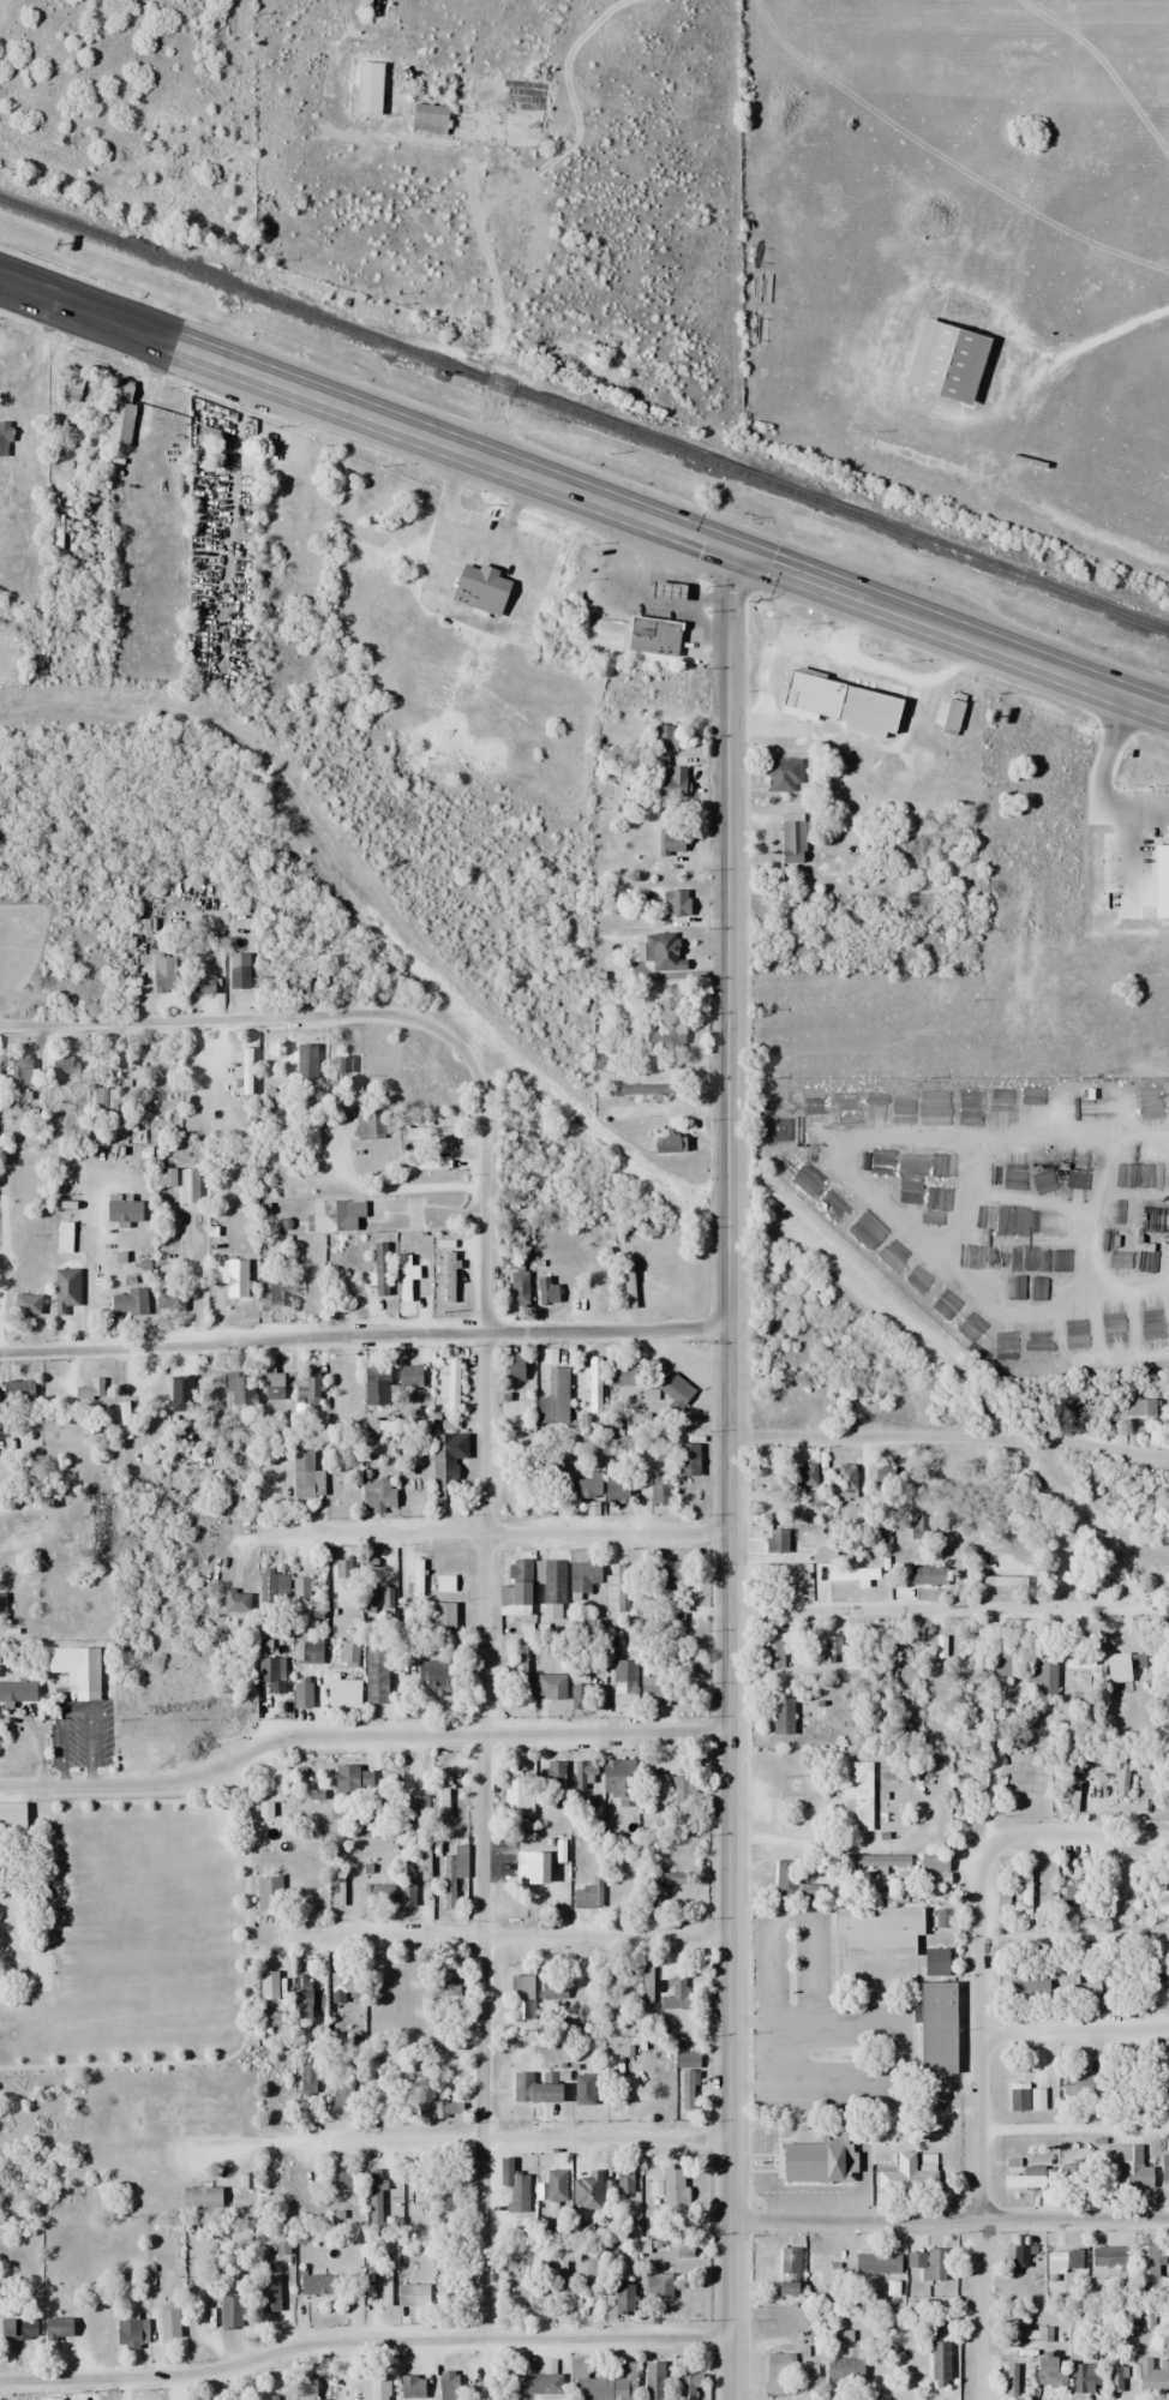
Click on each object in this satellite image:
building: (367, 88)
building: (505, 96)
road: (487, 250)
building: (591, 373)
building: (119, 414)
railway: (583, 418)
road: (583, 496)
traffic signals: (729, 550)
building: (478, 588)
building: (651, 635)
building: (947, 714)
building: (660, 736)
building: (780, 774)
building: (791, 838)
building: (660, 848)
building: (675, 902)
building: (663, 951)
building: (164, 970)
building: (235, 976)
building: (200, 983)
road: (240, 1016)
building: (306, 1060)
building: (66, 1067)
building: (18, 1071)
building: (217, 1079)
building: (103, 1100)
building: (370, 1121)
building: (122, 1208)
building: (338, 1214)
building: (64, 1237)
building: (379, 1268)
building: (311, 1281)
building: (404, 1281)
building: (271, 1283)
building: (65, 1288)
building: (238, 1288)
building: (128, 1300)
building: (169, 1300)
building: (25, 1303)
road: (364, 1334)
building: (511, 1366)
building: (341, 1371)
building: (374, 1373)
building: (408, 1375)
building: (306, 1382)
building: (271, 1383)
building: (238, 1385)
building: (448, 1385)
building: (89, 1389)
building: (18, 1390)
building: (553, 1397)
road: (949, 1437)
building: (622, 1440)
building: (687, 1458)
building: (443, 1468)
building: (767, 1472)
building: (550, 1473)
building: (306, 1474)
road: (730, 1474)
building: (802, 1474)
building: (583, 1485)
building: (615, 1486)
building: (657, 1489)
building: (377, 1494)
building: (917, 1526)
road: (498, 1531)
building: (773, 1540)
building: (669, 1574)
building: (925, 1574)
building: (582, 1575)
building: (416, 1576)
building: (550, 1580)
building: (517, 1581)
building: (449, 1582)
building: (780, 1582)
building: (272, 1585)
building: (300, 1586)
building: (610, 1587)
building: (1, 1602)
building: (1167, 1603)
road: (931, 1609)
building: (442, 1616)
building: (773, 1647)
building: (308, 1650)
building: (831, 1650)
building: (348, 1651)
building: (1115, 1666)
building: (85, 1669)
building: (521, 1670)
building: (577, 1675)
building: (374, 1676)
building: (1041, 1676)
building: (436, 1678)
building: (270, 1682)
building: (622, 1686)
building: (18, 1690)
building: (342, 1693)
building: (652, 1693)
building: (301, 1694)
building: (578, 1694)
building: (553, 1695)
road: (484, 1696)
building: (781, 1716)
road: (360, 1735)
building: (582, 1774)
building: (618, 1779)
building: (352, 1780)
building: (554, 1782)
building: (681, 1790)
building: (856, 1790)
building: (444, 1794)
building: (522, 1796)
building: (418, 1807)
building: (12, 1815)
road: (1077, 1835)
building: (931, 1862)
building: (880, 1865)
building: (452, 1869)
building: (524, 1873)
building: (783, 1879)
building: (645, 1887)
building: (406, 1892)
building: (268, 1893)
building: (377, 1893)
building: (587, 1895)
building: (1024, 1895)
building: (1162, 1903)
building: (942, 1919)
building: (889, 1929)
road: (511, 1935)
building: (935, 1962)
building: (1159, 1981)
building: (552, 1988)
building: (1081, 1991)
building: (670, 1993)
building: (301, 1997)
building: (521, 1997)
building: (358, 2023)
building: (935, 2028)
road: (1074, 2030)
building: (307, 2077)
building: (1079, 2085)
building: (582, 2089)
building: (687, 2089)
building: (532, 2090)
building: (659, 2090)
building: (342, 2093)
building: (1026, 2100)
building: (218, 2111)
road: (981, 2123)
road: (520, 2139)
building: (809, 2161)
building: (1127, 2167)
building: (1163, 2167)
building: (906, 2174)
building: (1077, 2177)
building: (1024, 2178)
building: (624, 2180)
building: (554, 2185)
building: (512, 2186)
building: (587, 2190)
building: (374, 2195)
building: (675, 2196)
road: (949, 2220)
building: (1017, 2254)
building: (1105, 2256)
building: (1065, 2260)
building: (876, 2262)
building: (927, 2263)
building: (1145, 2266)
building: (786, 2270)
building: (367, 2282)
building: (320, 2284)
building: (658, 2285)
building: (384, 2287)
building: (516, 2290)
building: (268, 2293)
building: (443, 2293)
building: (416, 2294)
building: (622, 2299)
building: (229, 2312)
building: (168, 2320)
building: (56, 2327)
building: (17, 2328)
building: (1037, 2334)
road: (362, 2341)
building: (939, 2360)
building: (1049, 2370)
building: (841, 2371)
building: (778, 2374)
building: (875, 2375)
building: (1152, 2376)
building: (1084, 2377)
building: (1115, 2378)
building: (539, 2381)
building: (446, 2386)
building: (607, 2386)
building: (653, 2386)
building: (684, 2386)
building: (410, 2387)
building: (377, 2388)
building: (276, 2399)

